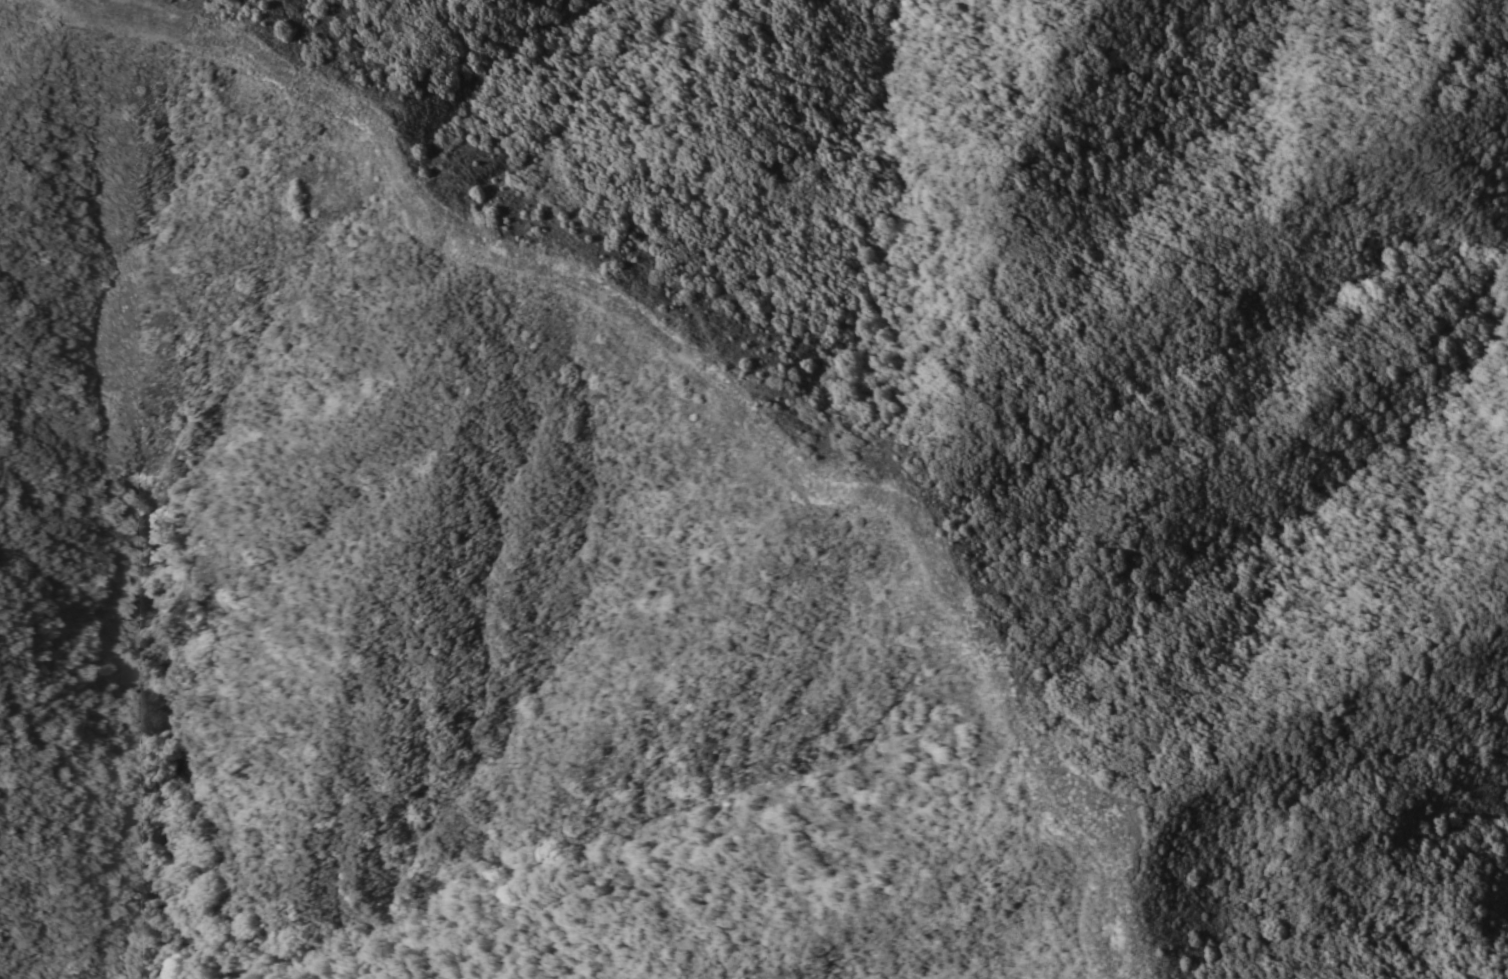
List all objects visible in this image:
road: (695, 369)

